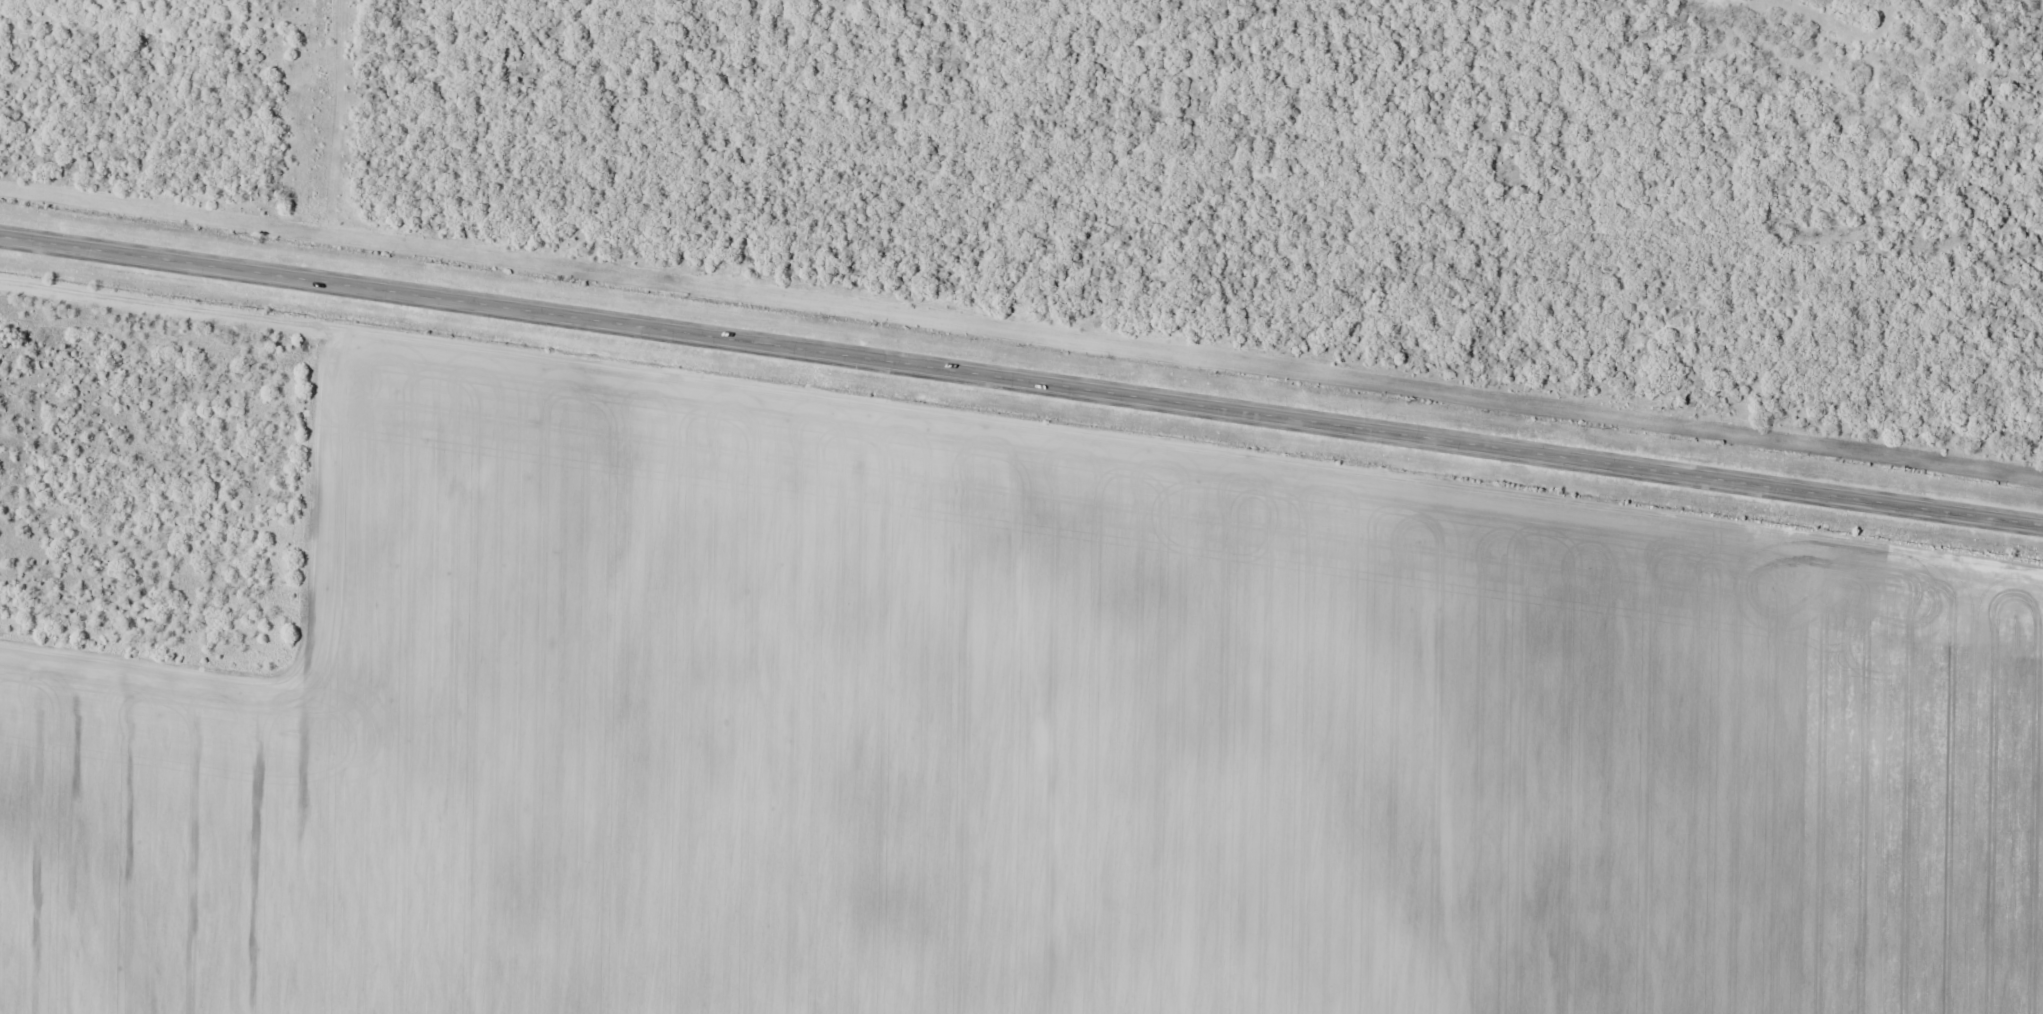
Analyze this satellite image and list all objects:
road: (1021, 381)

